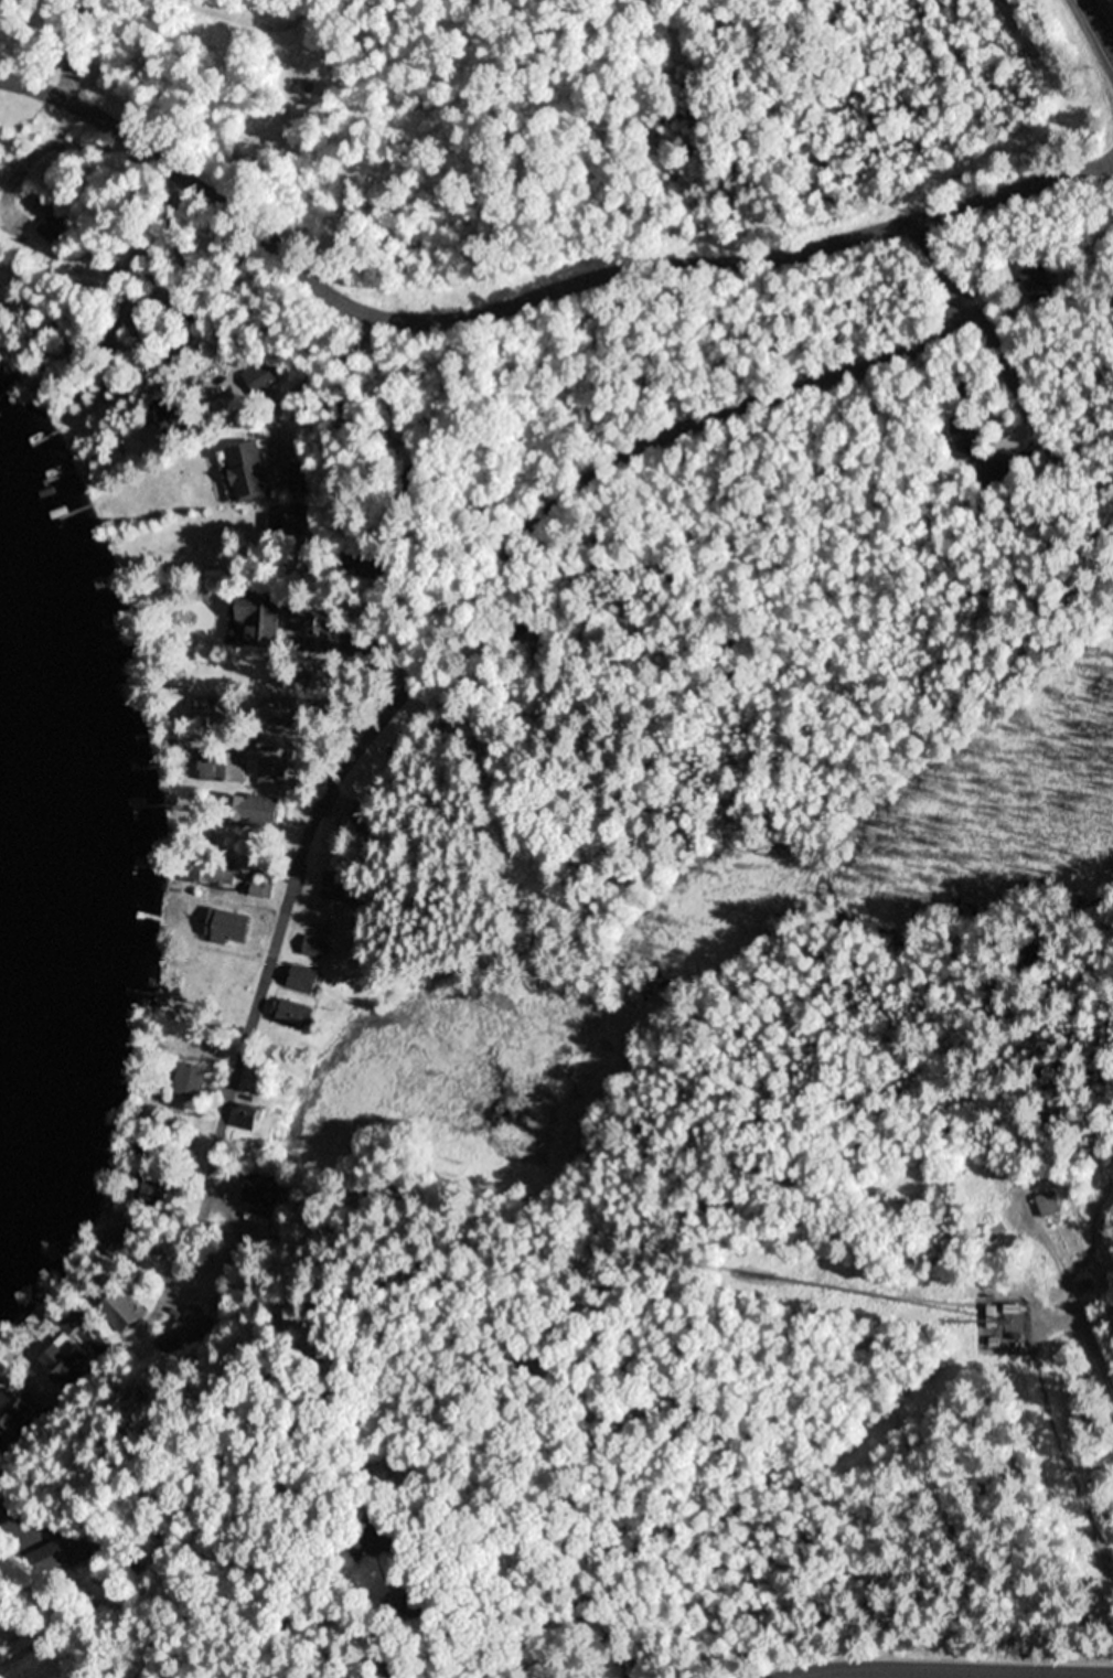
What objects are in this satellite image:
road: (1101, 20)
building: (217, 34)
road: (73, 50)
building: (92, 73)
road: (332, 101)
road: (135, 207)
building: (54, 222)
building: (1034, 276)
road: (526, 302)
building: (138, 317)
building: (176, 349)
road: (248, 366)
building: (261, 378)
building: (174, 415)
building: (967, 437)
building: (999, 468)
building: (252, 472)
building: (307, 474)
building: (288, 525)
road: (544, 527)
building: (298, 566)
building: (167, 596)
building: (264, 616)
building: (308, 619)
building: (213, 712)
building: (285, 712)
building: (223, 767)
building: (272, 771)
building: (254, 810)
building: (363, 817)
building: (210, 869)
building: (346, 888)
building: (263, 891)
building: (227, 927)
building: (315, 949)
building: (302, 979)
building: (355, 979)
building: (293, 1014)
road: (240, 1077)
building: (191, 1081)
building: (249, 1116)
building: (245, 1180)
building: (154, 1185)
building: (1050, 1204)
building: (1071, 1239)
building: (122, 1247)
building: (119, 1301)
building: (235, 1317)
building: (189, 1333)
road: (119, 1348)
building: (67, 1350)
building: (12, 1417)
building: (392, 1537)
building: (85, 1547)
building: (52, 1559)
building: (7, 1593)
building: (421, 1604)
road: (942, 1667)

